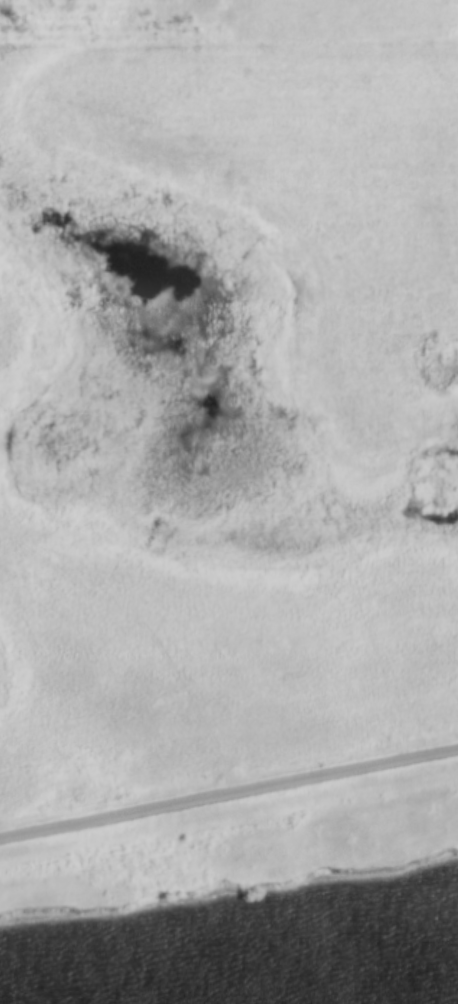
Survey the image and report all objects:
road: (229, 804)

